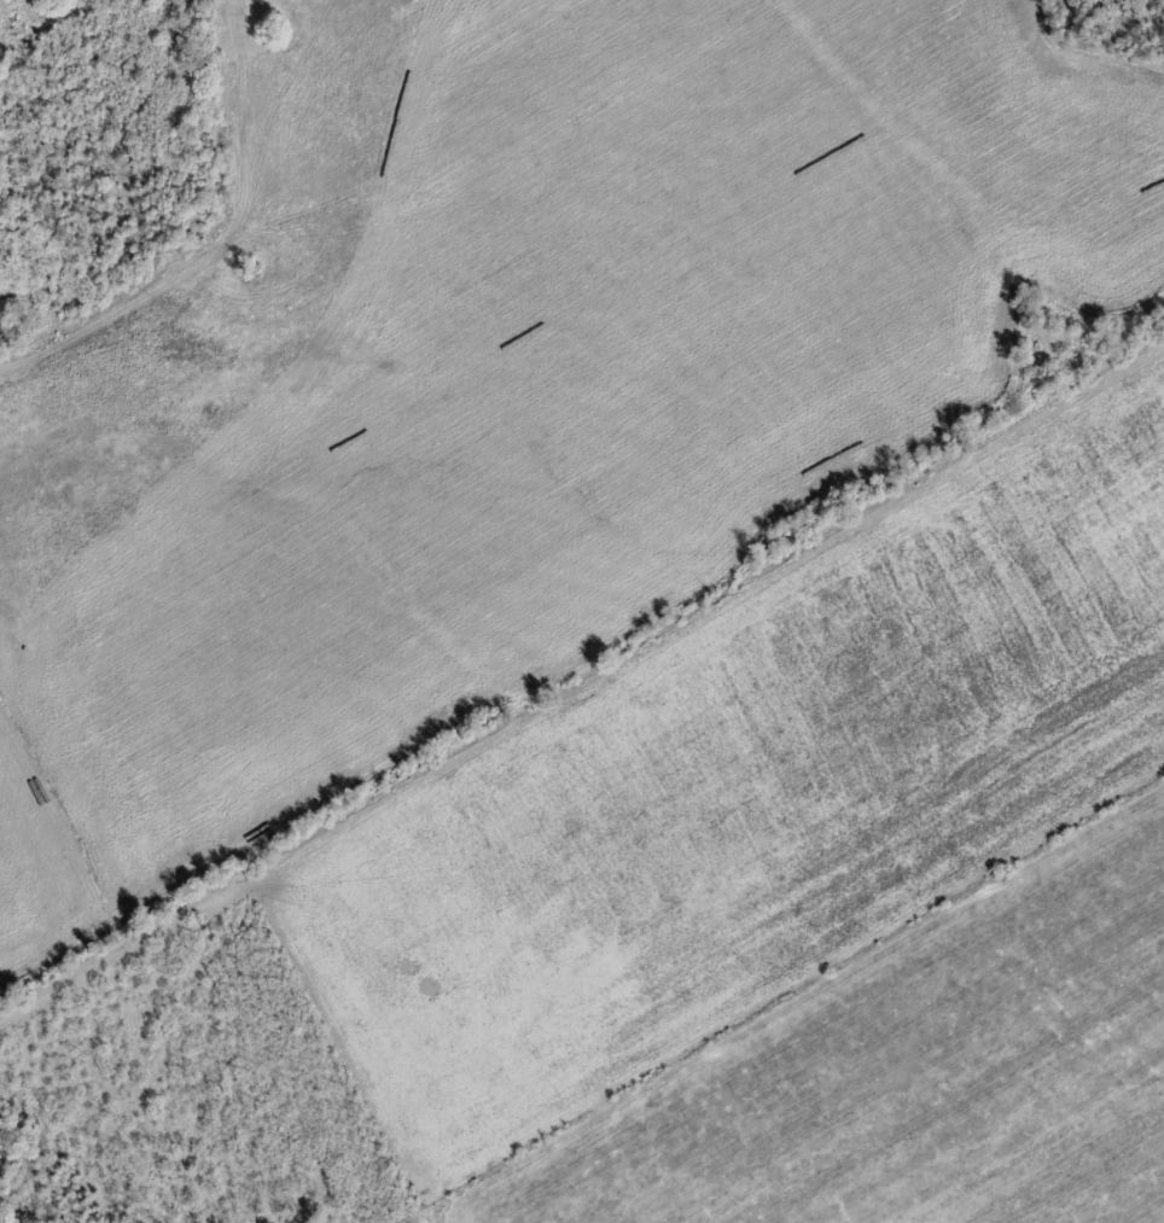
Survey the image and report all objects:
road: (1086, 40)
road: (308, 307)

